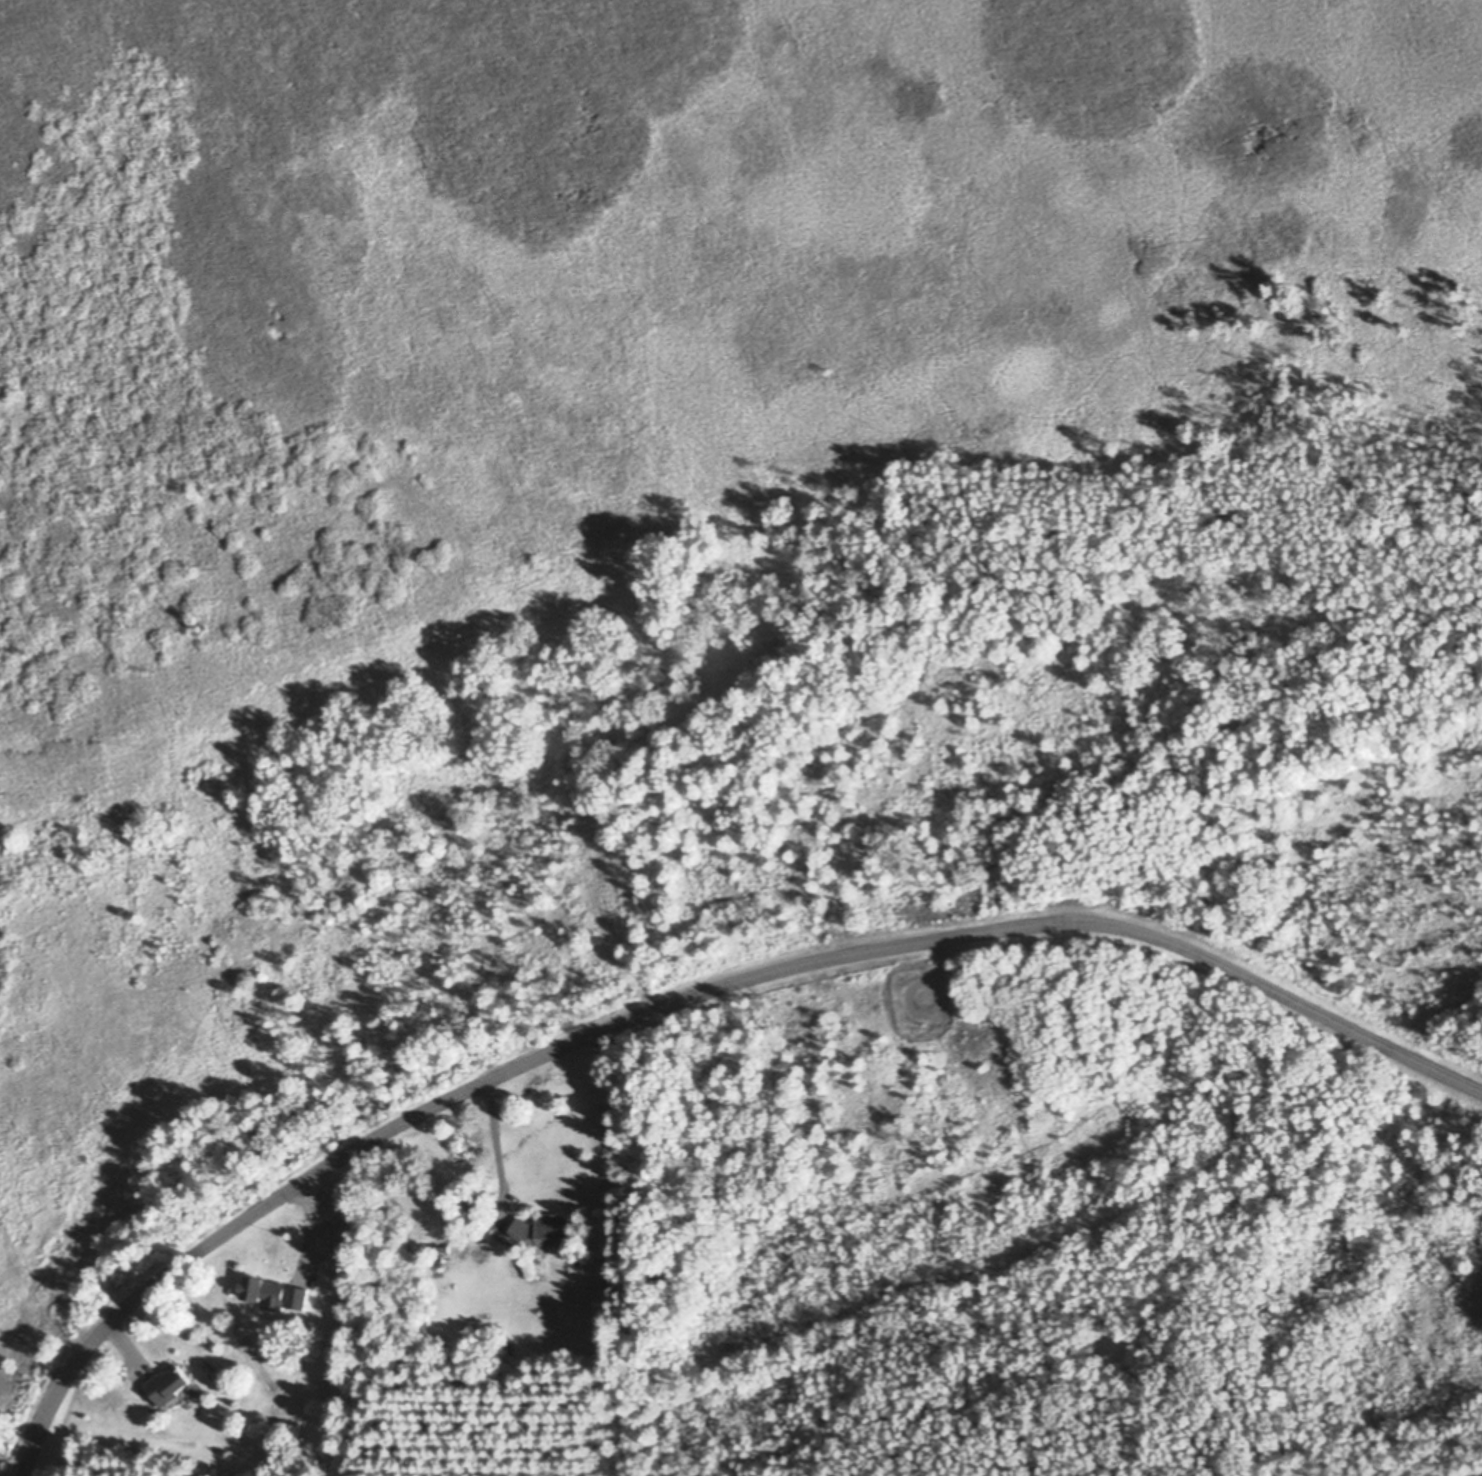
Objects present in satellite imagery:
road: (687, 1001)
road: (497, 1151)
building: (475, 1203)
building: (545, 1230)
building: (521, 1248)
building: (444, 1249)
building: (441, 1264)
building: (277, 1293)
building: (267, 1303)
building: (300, 1370)
building: (173, 1386)
building: (191, 1396)

